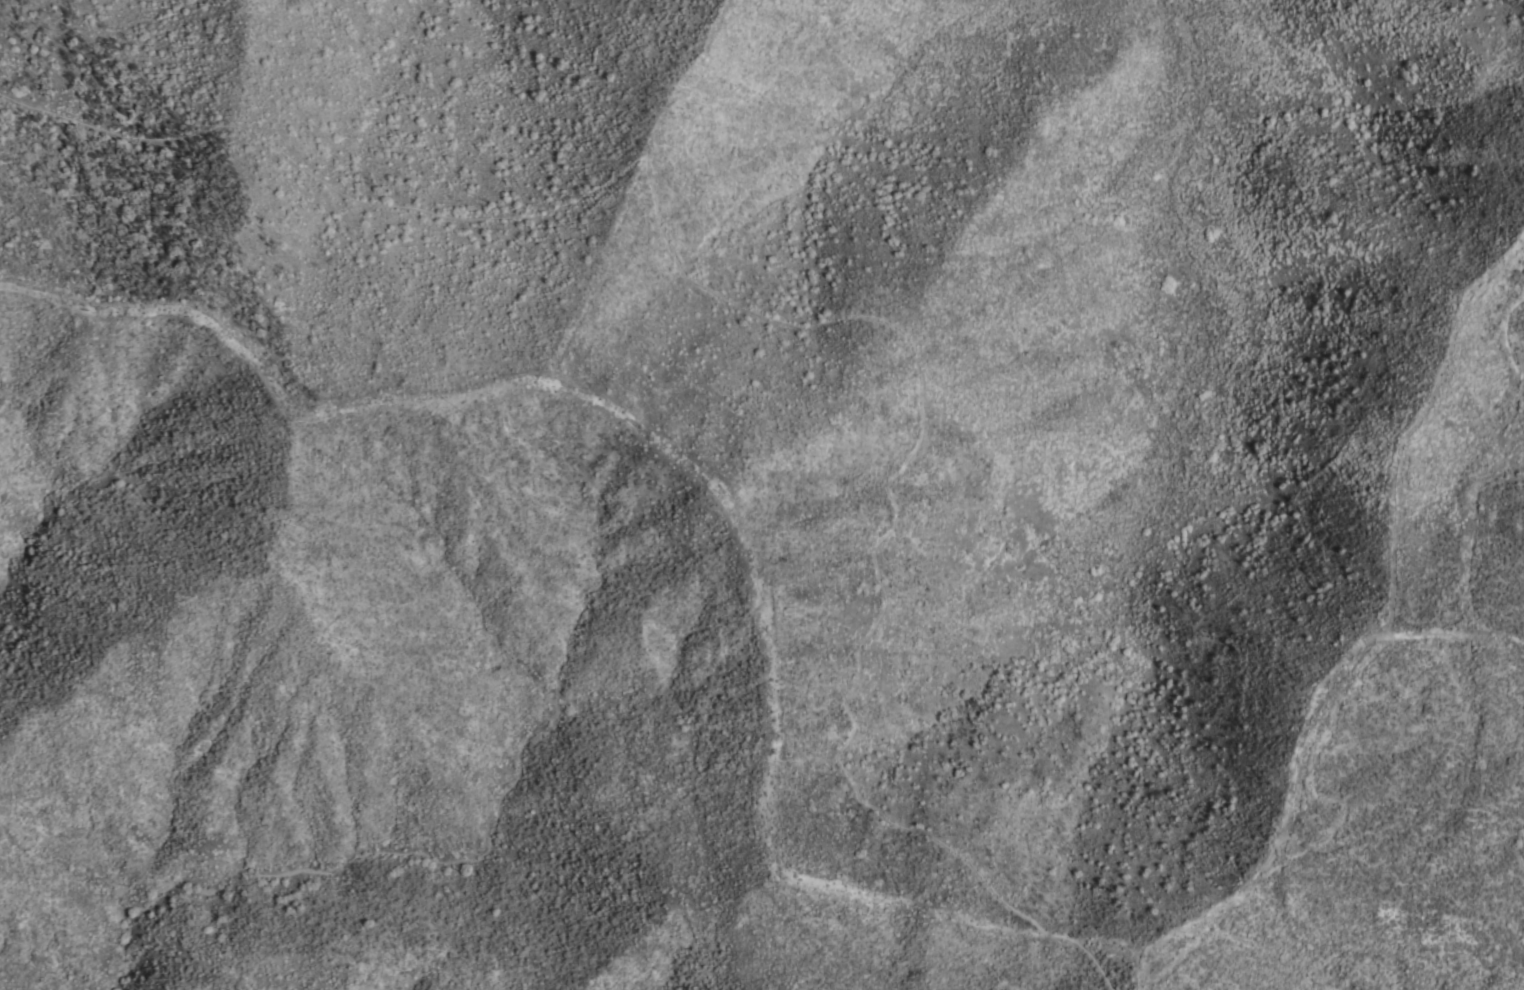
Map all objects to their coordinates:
road: (812, 318)

